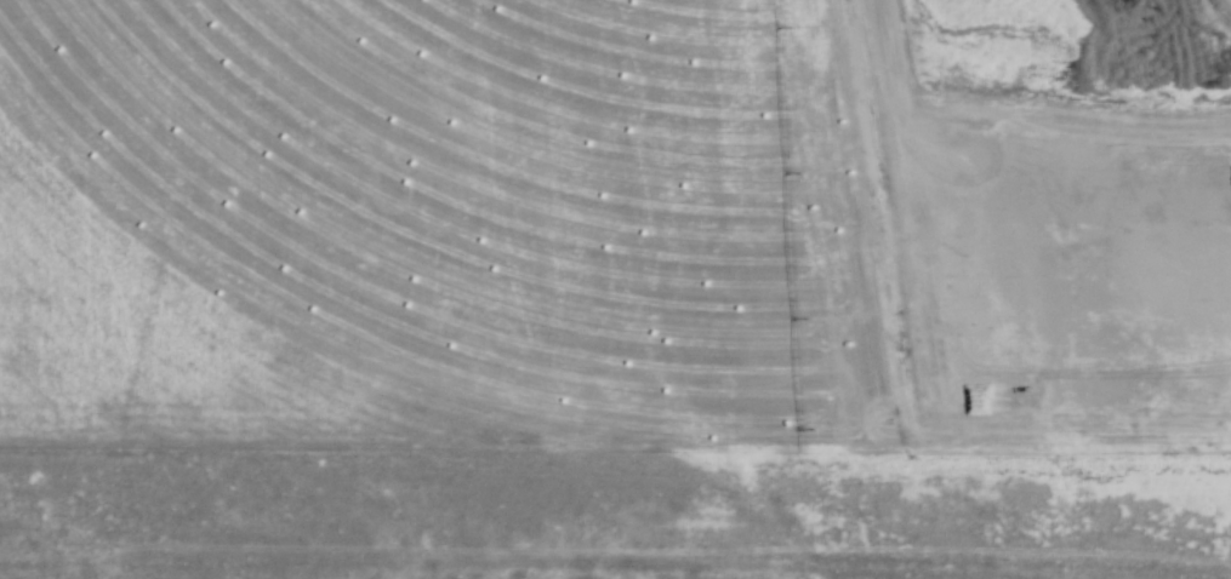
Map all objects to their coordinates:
crop: (418, 231)

